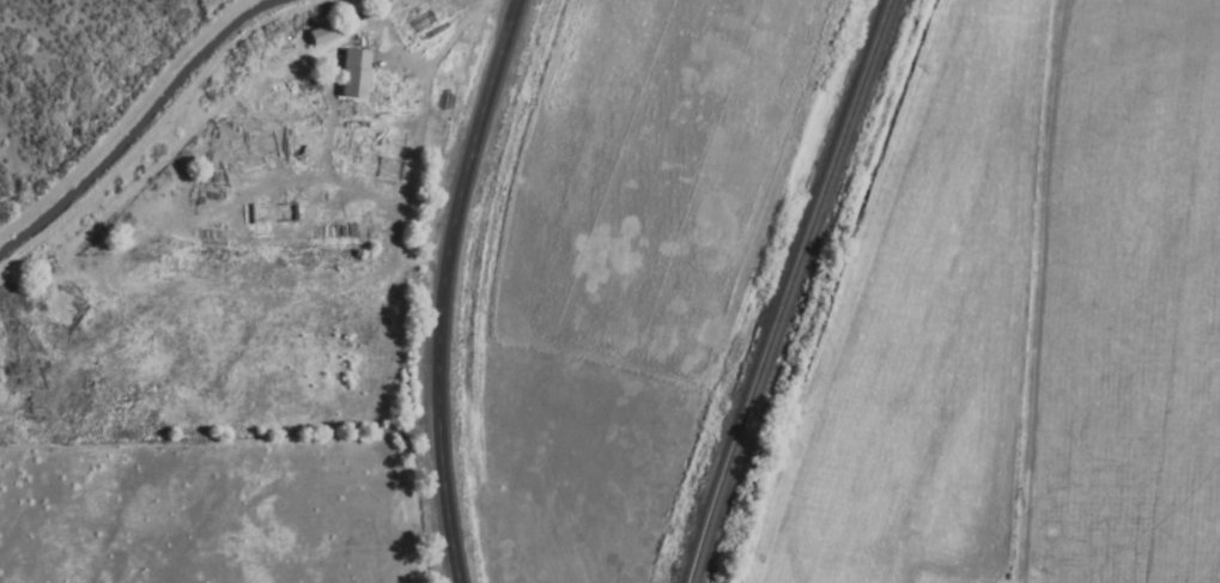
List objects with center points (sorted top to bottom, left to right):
building: (320, 36)
building: (350, 77)
road: (122, 115)
road: (151, 123)
road: (427, 287)
railway: (783, 290)

